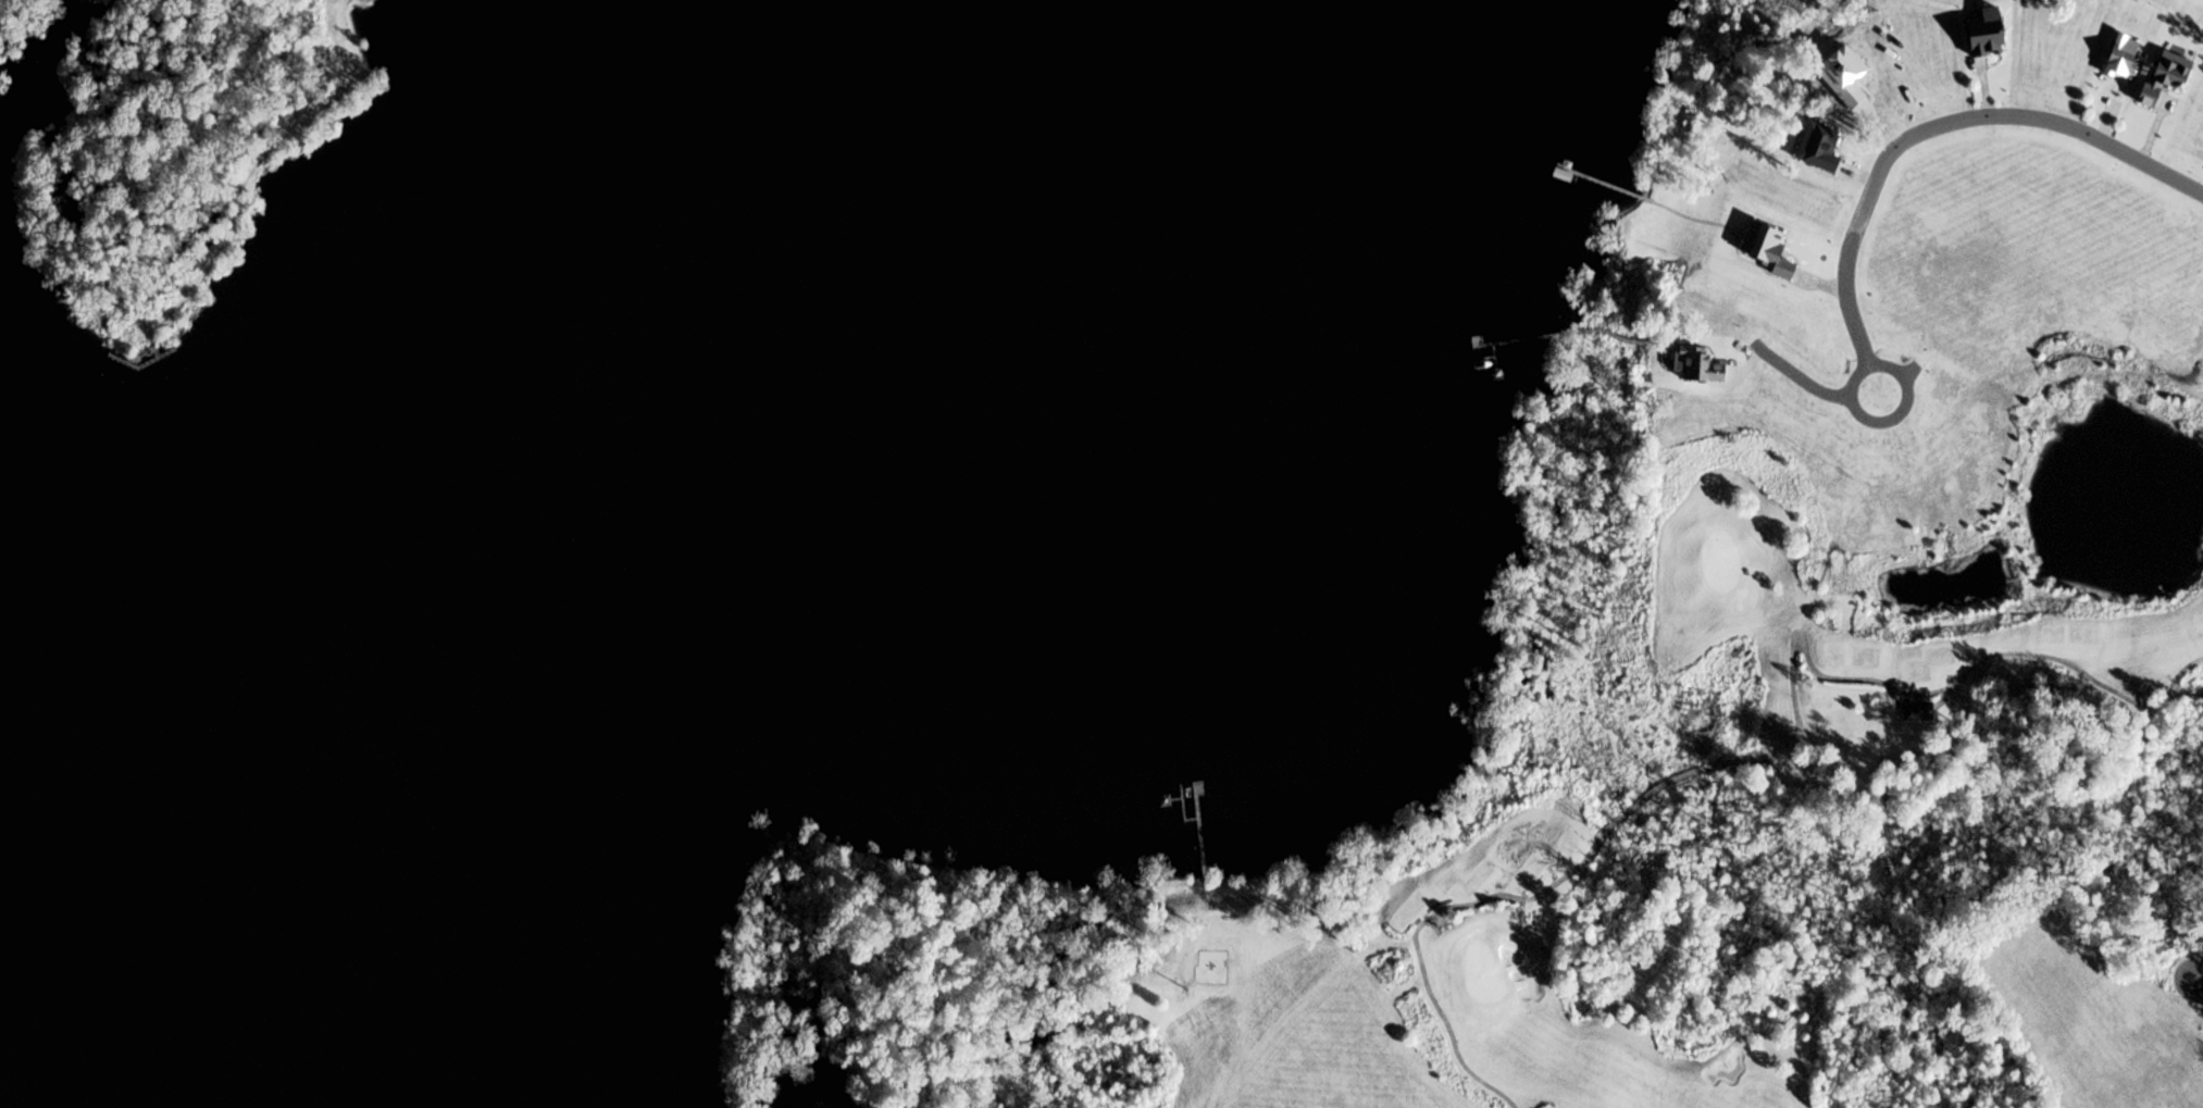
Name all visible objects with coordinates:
park: (17, 18)
building: (1981, 42)
building: (2119, 65)
road: (1980, 96)
road: (2102, 125)
road: (1938, 128)
park: (184, 150)
building: (1810, 152)
road: (1857, 178)
building: (1765, 256)
road: (1817, 285)
road: (1903, 391)
road: (1889, 699)
road: (1937, 700)
building: (1913, 717)
road: (1767, 755)
road: (2196, 989)

